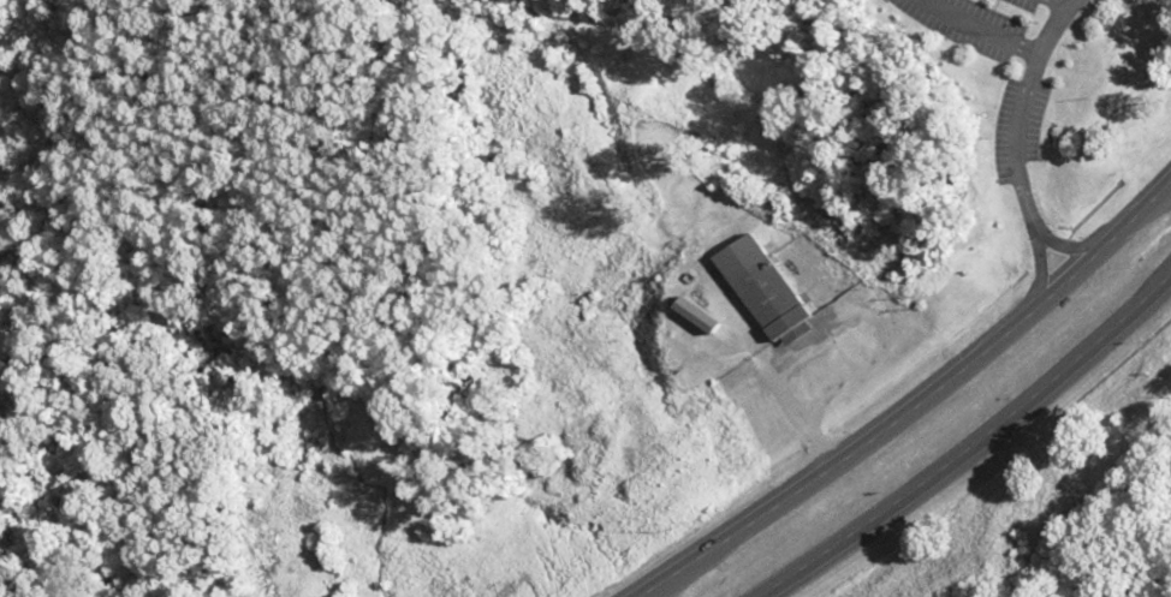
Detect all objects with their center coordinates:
road: (1015, 139)
building: (767, 289)
road: (910, 395)
road: (974, 447)

